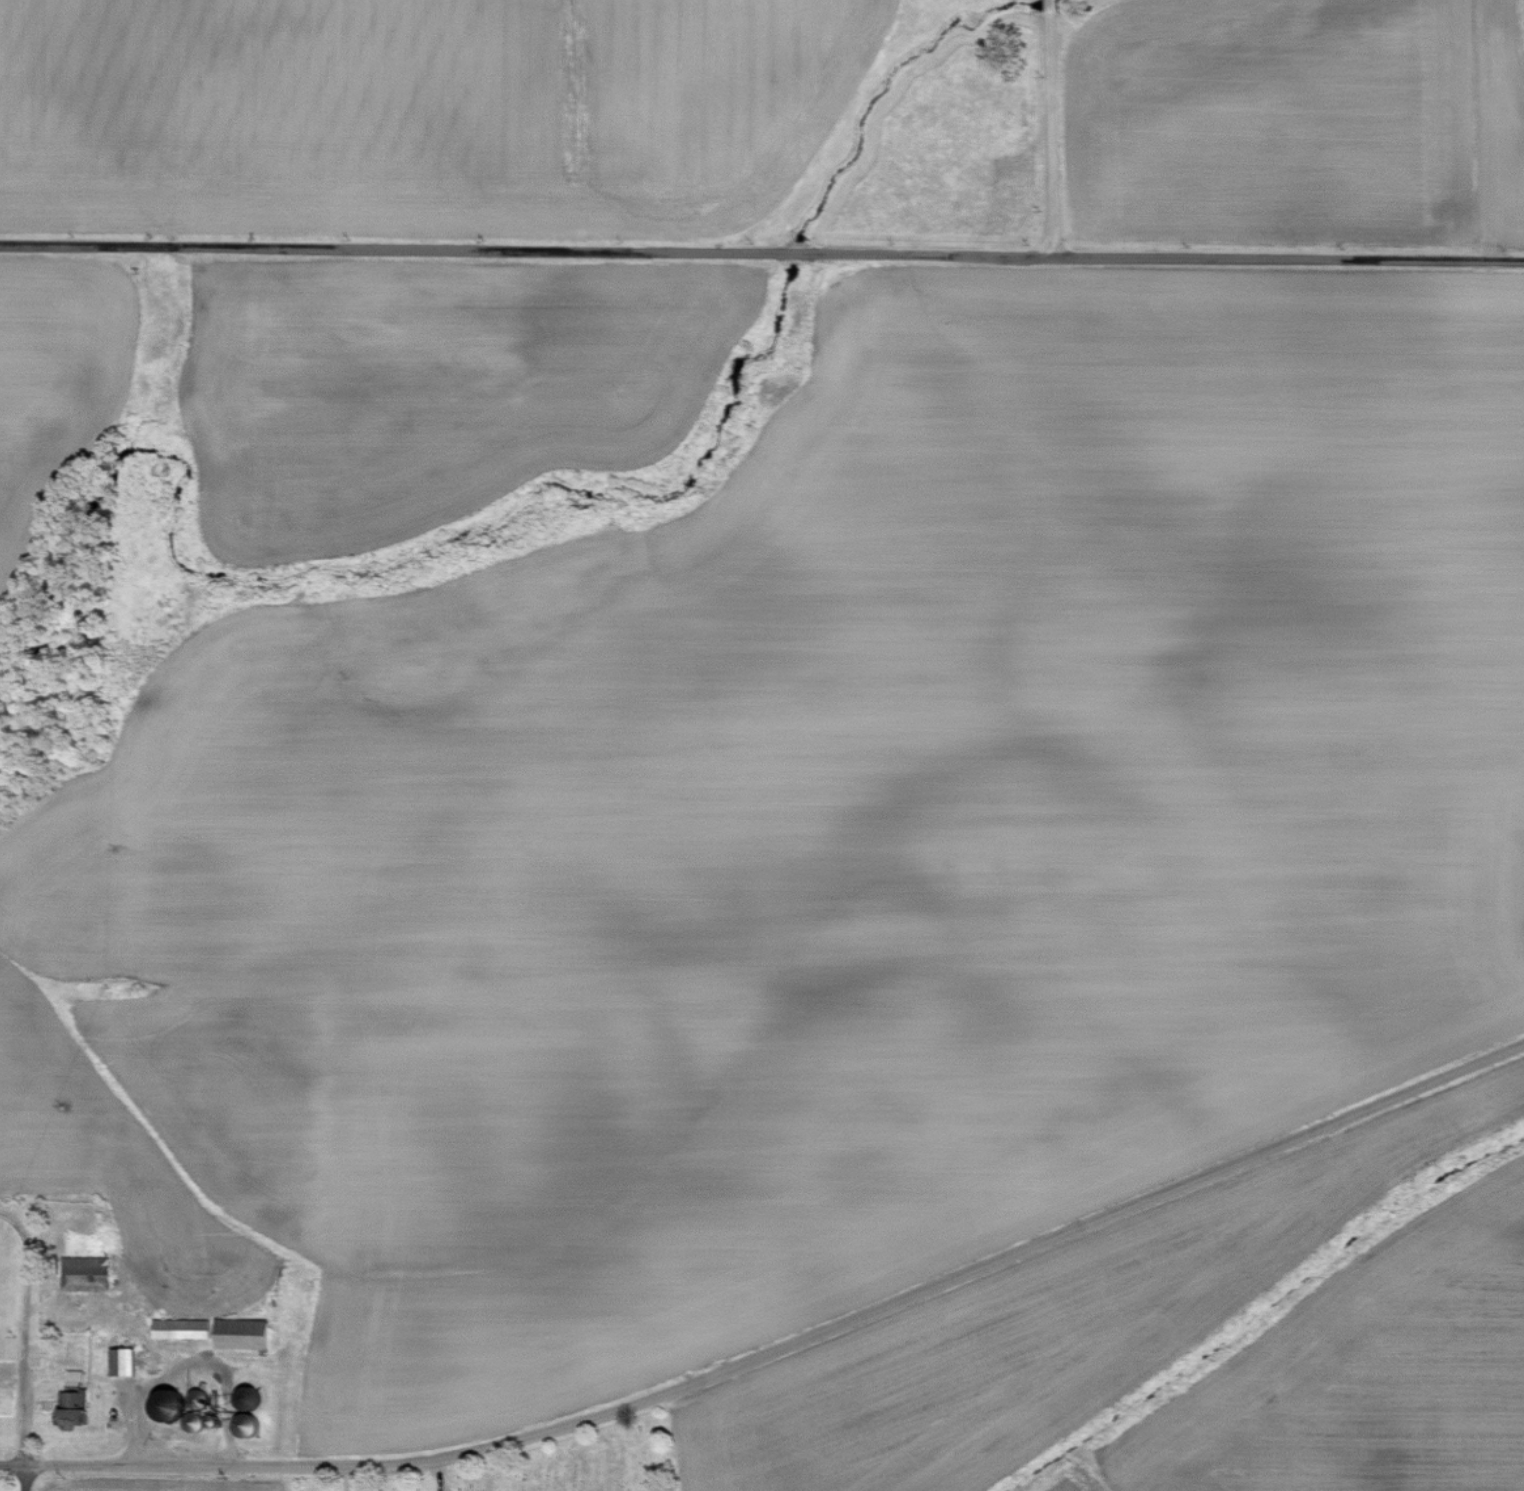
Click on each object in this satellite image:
road: (1049, 128)
road: (761, 256)
road: (8, 1221)
building: (96, 1273)
road: (897, 1298)
building: (186, 1329)
building: (247, 1335)
road: (18, 1357)
building: (77, 1378)
building: (253, 1399)
building: (188, 1409)
building: (77, 1411)
park: (549, 1463)
road: (124, 1465)

